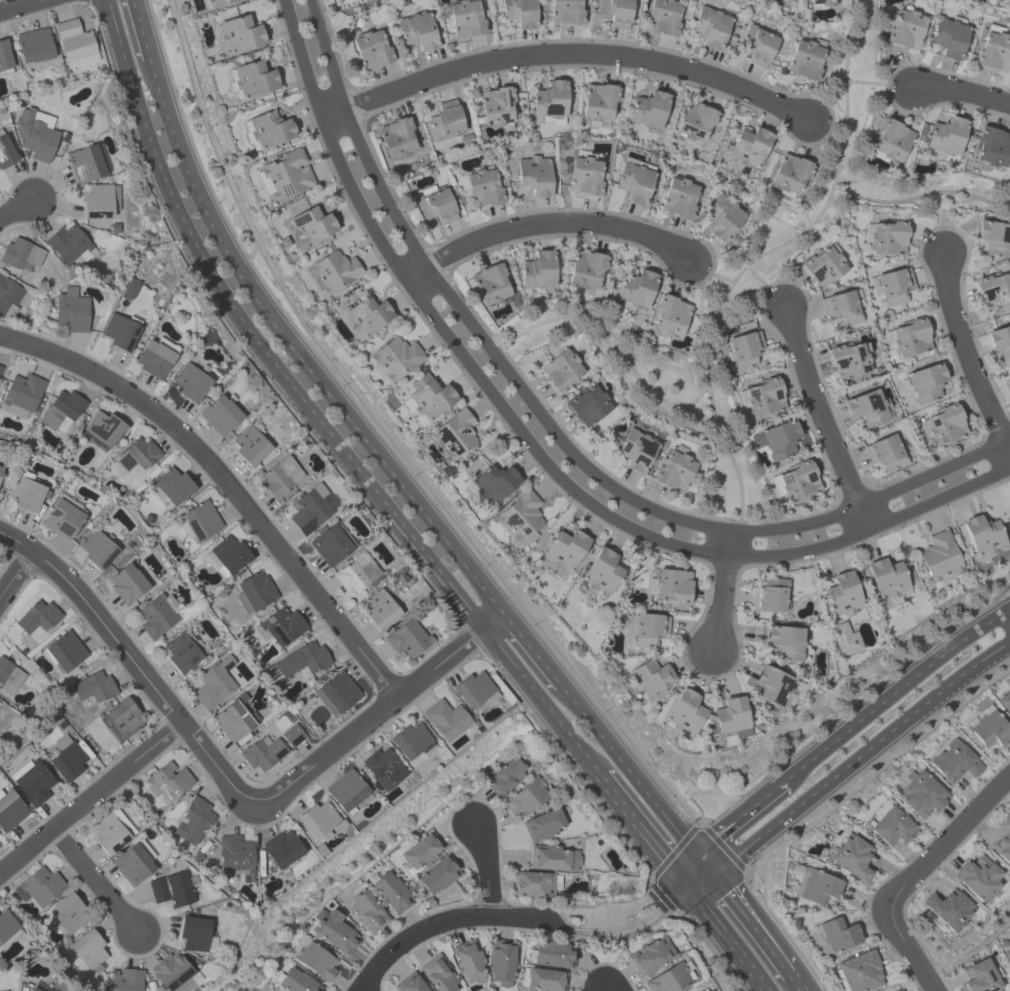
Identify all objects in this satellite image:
building: (788, 0)
building: (217, 2)
building: (823, 2)
road: (24, 6)
building: (566, 11)
building: (616, 12)
building: (519, 13)
building: (663, 17)
building: (466, 18)
building: (710, 27)
building: (904, 29)
road: (140, 30)
building: (417, 31)
building: (240, 33)
building: (948, 37)
building: (74, 43)
building: (758, 44)
building: (33, 45)
building: (371, 49)
building: (993, 51)
road: (563, 54)
building: (4, 58)
building: (805, 60)
building: (253, 79)
road: (877, 85)
road: (959, 93)
building: (549, 99)
building: (598, 102)
building: (497, 105)
building: (648, 109)
building: (445, 121)
building: (695, 121)
road: (824, 121)
building: (269, 129)
building: (35, 133)
building: (945, 136)
building: (397, 137)
building: (890, 140)
building: (991, 146)
building: (748, 147)
building: (6, 152)
building: (87, 162)
building: (287, 174)
building: (789, 174)
building: (534, 175)
building: (585, 176)
building: (634, 182)
building: (482, 188)
building: (679, 198)
road: (917, 199)
building: (99, 200)
building: (435, 204)
road: (14, 208)
road: (942, 213)
building: (721, 217)
road: (544, 223)
building: (310, 227)
building: (888, 238)
building: (994, 238)
road: (191, 241)
building: (67, 243)
building: (20, 253)
road: (759, 258)
building: (822, 266)
building: (586, 269)
building: (537, 270)
building: (334, 271)
road: (710, 272)
building: (490, 283)
building: (893, 285)
road: (766, 286)
building: (128, 288)
building: (635, 288)
building: (993, 290)
building: (8, 296)
building: (841, 307)
building: (70, 310)
building: (367, 315)
building: (668, 315)
building: (120, 331)
road: (614, 338)
building: (910, 338)
building: (1000, 340)
building: (743, 349)
road: (296, 353)
road: (967, 354)
building: (155, 357)
building: (396, 358)
building: (849, 359)
building: (0, 368)
building: (561, 371)
building: (190, 382)
building: (925, 383)
building: (1009, 383)
building: (21, 395)
building: (763, 396)
building: (426, 398)
road: (695, 399)
building: (587, 405)
building: (866, 407)
building: (62, 409)
building: (220, 415)
road: (822, 419)
building: (942, 424)
building: (101, 430)
road: (390, 430)
building: (454, 433)
road: (555, 433)
building: (776, 439)
building: (250, 445)
building: (636, 450)
road: (535, 452)
building: (885, 452)
building: (137, 455)
building: (0, 468)
building: (673, 471)
building: (281, 476)
building: (795, 481)
road: (223, 484)
building: (492, 484)
building: (172, 486)
building: (25, 491)
building: (310, 509)
building: (520, 515)
building: (62, 519)
building: (201, 520)
building: (982, 534)
road: (412, 539)
building: (330, 545)
building: (97, 549)
building: (565, 549)
building: (228, 556)
building: (939, 556)
building: (601, 572)
road: (15, 575)
building: (356, 575)
building: (885, 578)
building: (127, 584)
building: (672, 586)
building: (254, 591)
road: (720, 591)
building: (842, 594)
building: (770, 595)
building: (379, 609)
building: (155, 617)
building: (36, 619)
building: (280, 626)
building: (647, 629)
building: (407, 638)
building: (843, 639)
building: (784, 642)
road: (529, 648)
building: (183, 650)
building: (64, 651)
building: (302, 659)
building: (651, 676)
building: (9, 677)
building: (214, 683)
building: (93, 687)
building: (774, 687)
building: (474, 690)
road: (894, 692)
building: (336, 693)
building: (1005, 701)
road: (540, 702)
building: (0, 703)
building: (683, 712)
building: (122, 717)
building: (731, 717)
building: (446, 720)
building: (234, 721)
building: (990, 730)
building: (411, 741)
building: (262, 753)
road: (860, 757)
building: (65, 758)
building: (955, 761)
building: (383, 767)
building: (505, 777)
road: (634, 778)
building: (31, 781)
building: (168, 781)
road: (230, 783)
building: (347, 792)
building: (922, 795)
road: (89, 796)
building: (526, 797)
building: (9, 810)
road: (739, 817)
building: (319, 820)
building: (193, 821)
building: (890, 824)
building: (543, 825)
road: (642, 830)
building: (111, 831)
road: (357, 833)
road: (946, 839)
building: (1002, 840)
building: (281, 848)
building: (422, 851)
building: (236, 856)
building: (852, 857)
building: (553, 858)
building: (133, 862)
road: (689, 867)
road: (488, 872)
building: (438, 874)
traffic signals: (713, 875)
building: (977, 877)
road: (95, 879)
road: (699, 879)
building: (532, 884)
traffic signals: (685, 884)
building: (39, 887)
building: (819, 887)
building: (171, 889)
building: (391, 893)
building: (948, 909)
building: (68, 912)
building: (367, 912)
road: (513, 919)
road: (750, 924)
building: (6, 925)
building: (335, 932)
building: (193, 933)
building: (838, 934)
road: (725, 937)
building: (88, 948)
road: (911, 948)
building: (553, 954)
building: (650, 955)
building: (1007, 955)
building: (315, 960)
building: (500, 961)
building: (468, 962)
building: (170, 971)
building: (860, 971)
building: (438, 973)
building: (979, 977)
building: (545, 979)
building: (667, 979)
building: (124, 980)
building: (295, 981)
road: (794, 982)
building: (409, 983)
building: (33, 989)
building: (41, 990)
road: (606, 990)
building: (697, 990)
building: (898, 990)
building: (905, 990)

